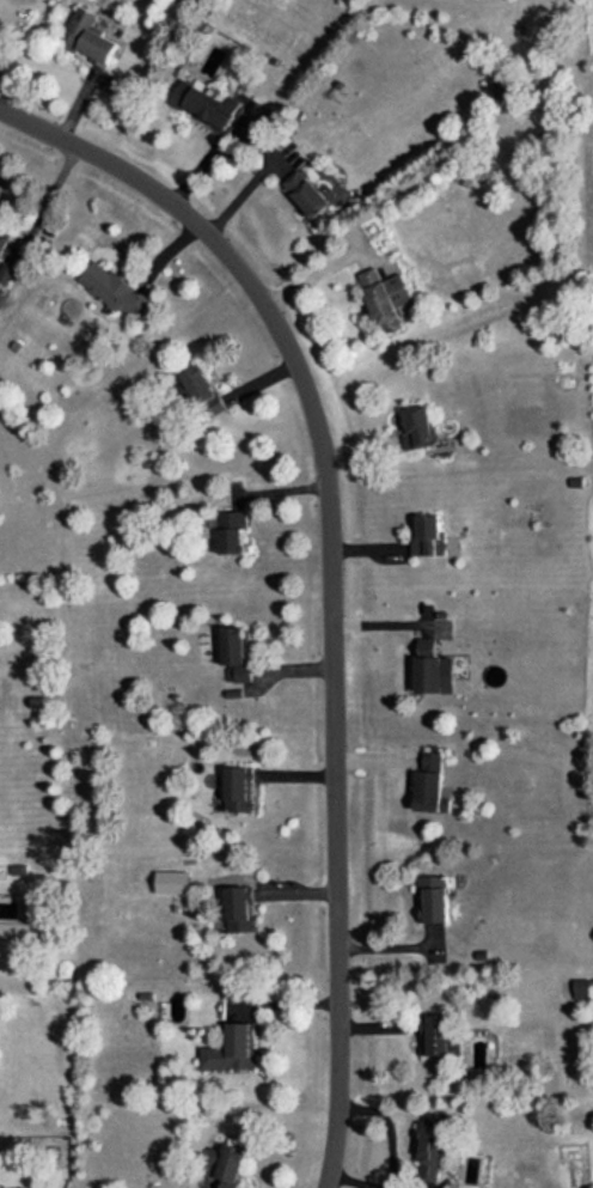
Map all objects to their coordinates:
building: (90, 37)
building: (207, 106)
building: (306, 193)
building: (4, 234)
building: (10, 266)
building: (115, 290)
building: (385, 297)
building: (182, 391)
building: (203, 391)
building: (418, 427)
building: (228, 530)
building: (429, 536)
road: (330, 571)
building: (234, 653)
building: (432, 668)
building: (429, 784)
building: (238, 788)
building: (172, 881)
building: (433, 897)
building: (239, 908)
building: (581, 988)
building: (434, 1035)
building: (231, 1048)
building: (432, 1146)
building: (225, 1163)

